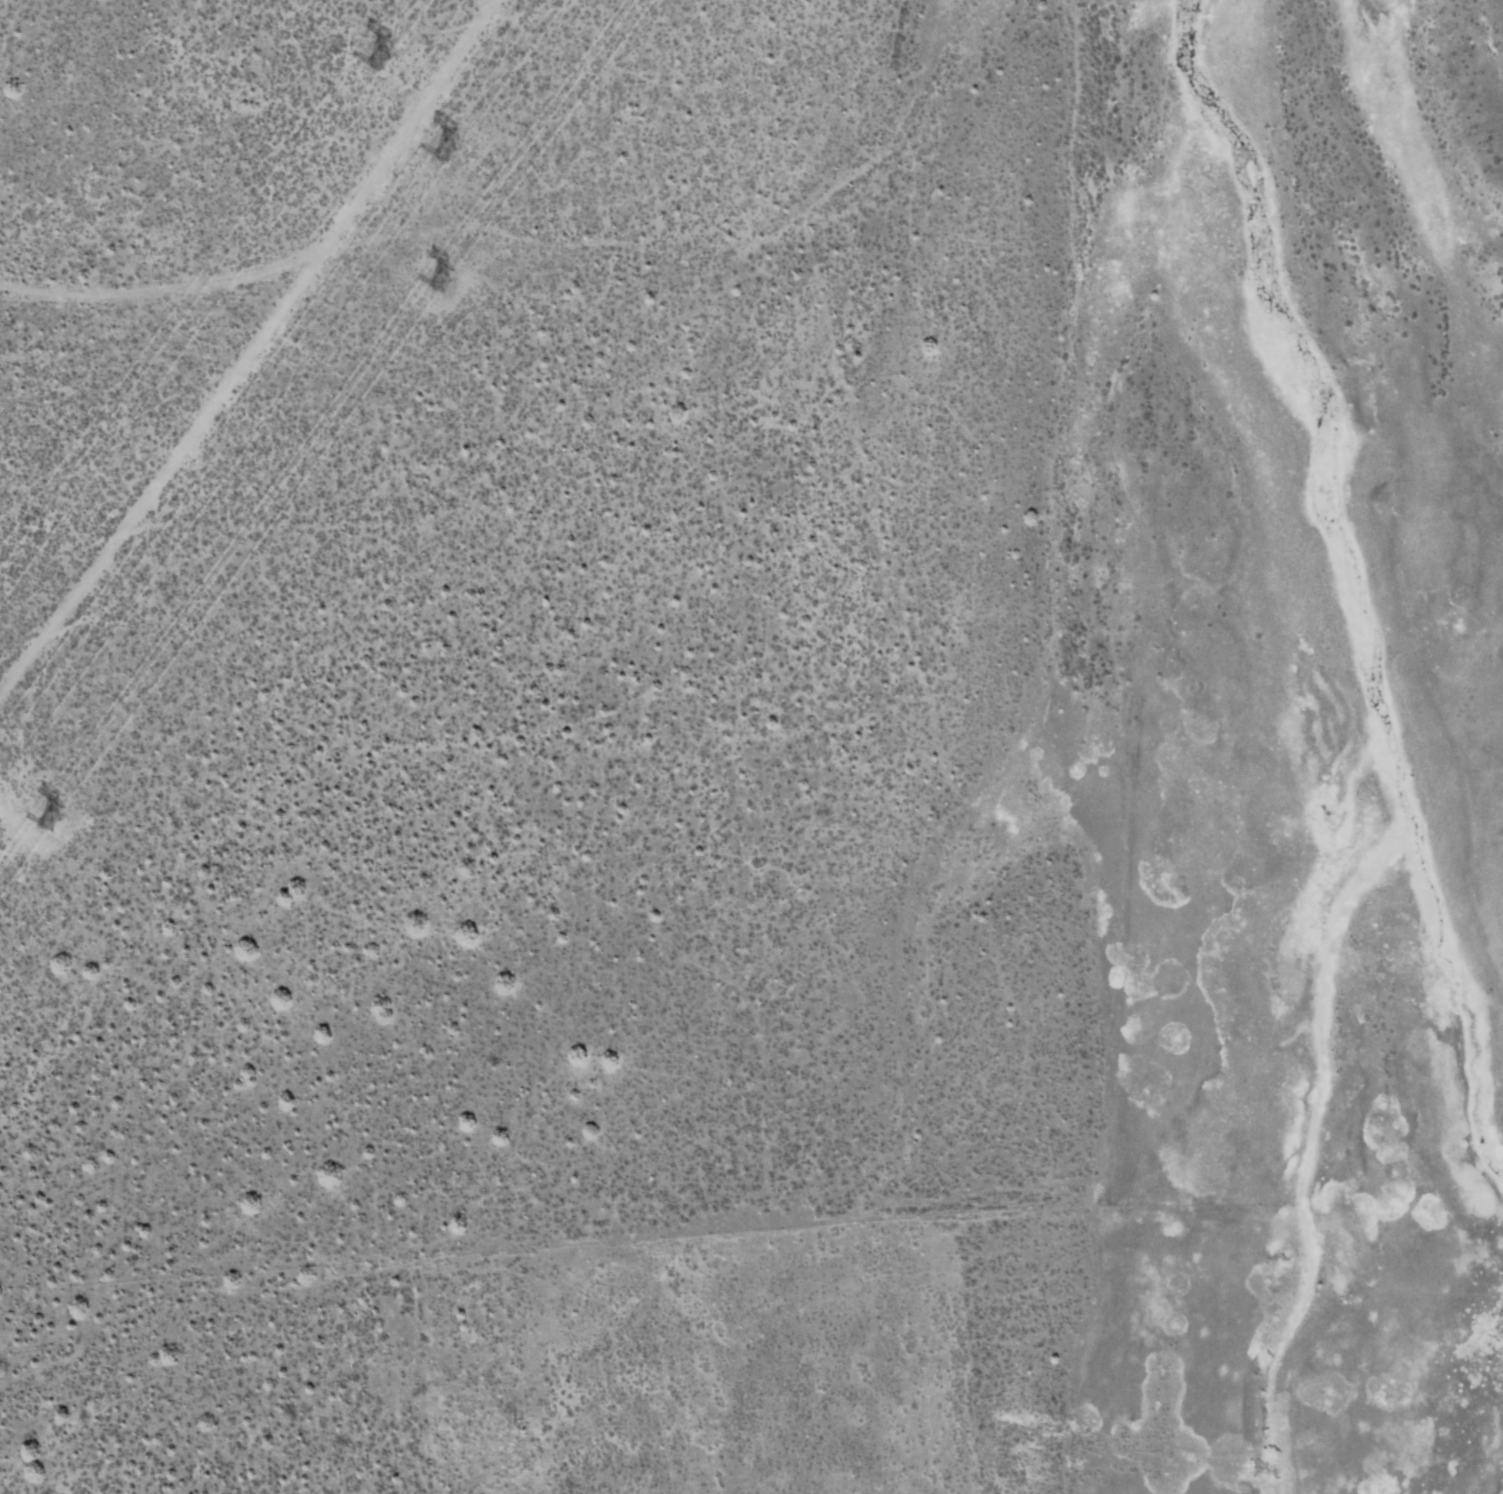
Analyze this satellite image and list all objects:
power tower: (371, 44)
power tower: (446, 155)
power tower: (443, 299)
road: (264, 360)
power tower: (53, 832)

